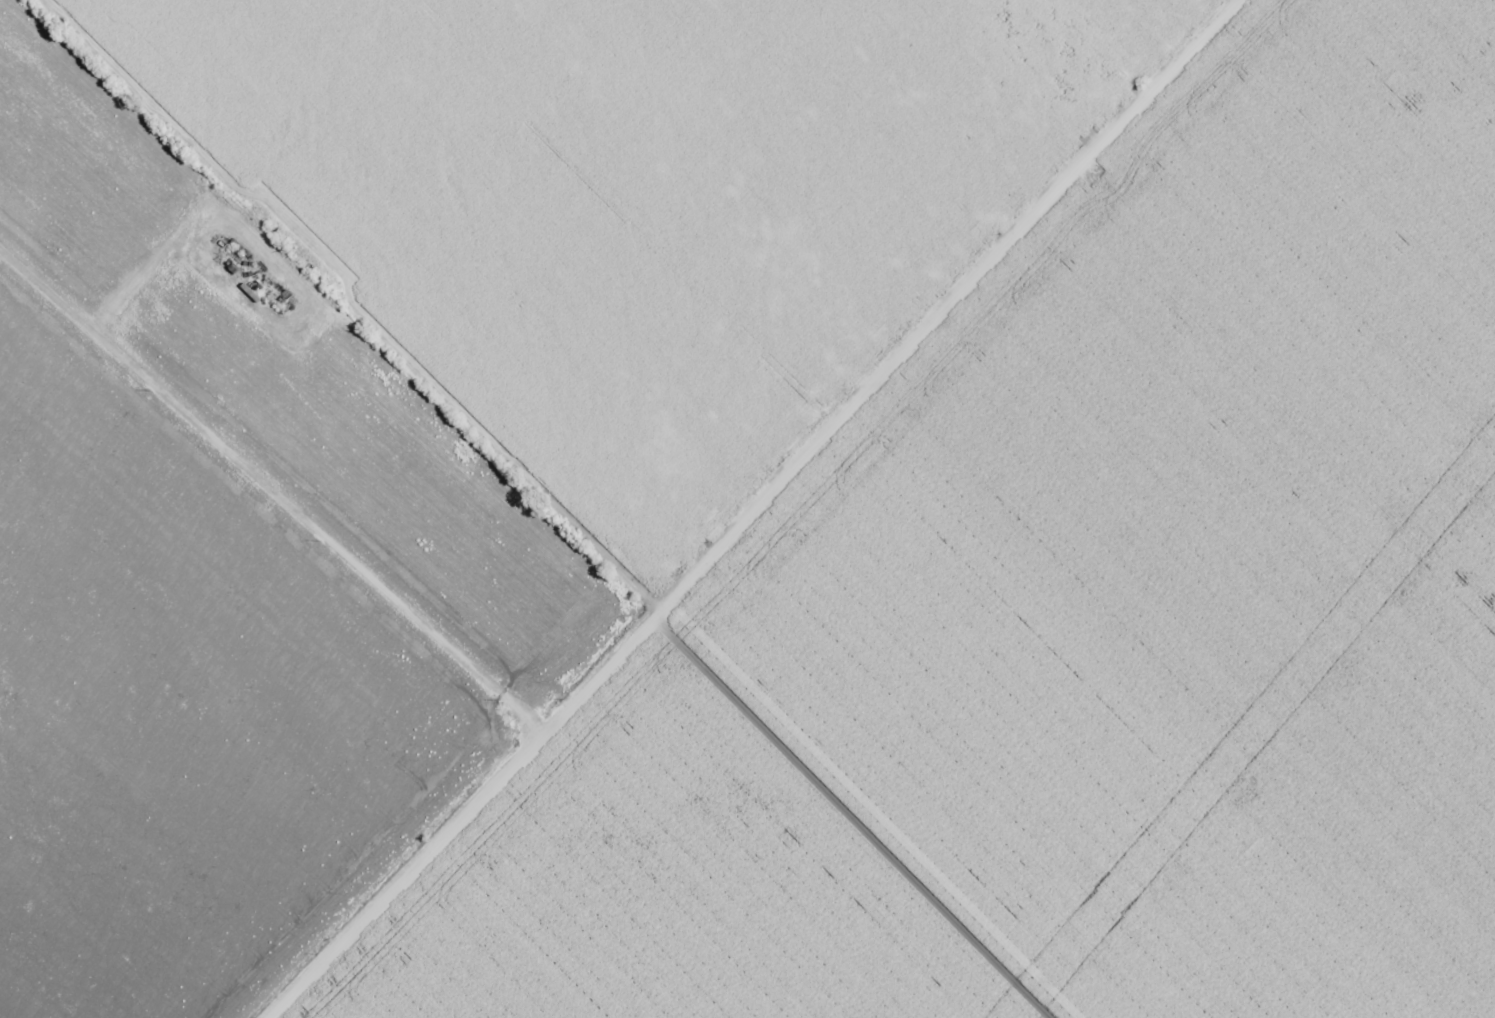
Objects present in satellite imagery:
road: (266, 505)
road: (773, 515)

